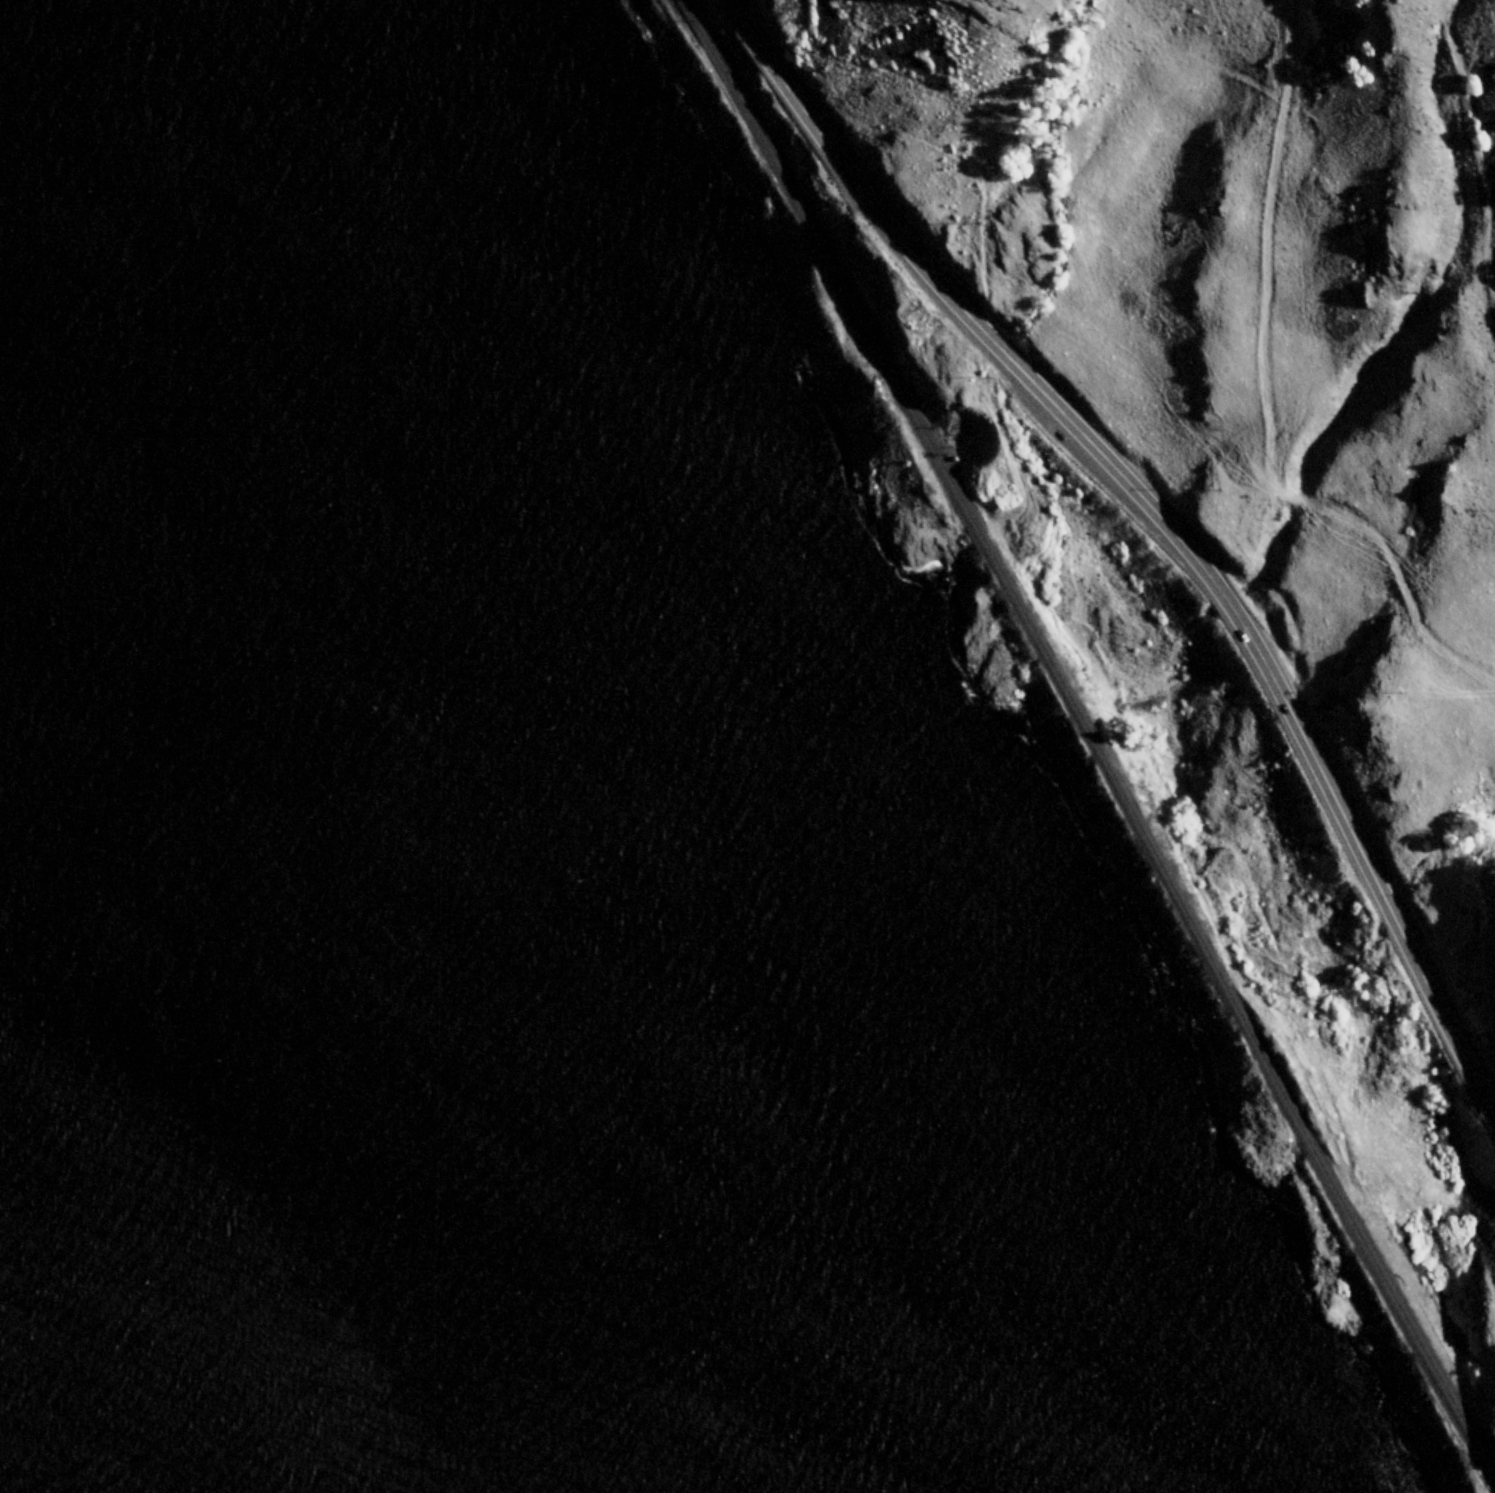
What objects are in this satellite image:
road: (1167, 524)
railway: (1086, 732)
river: (53, 1378)

